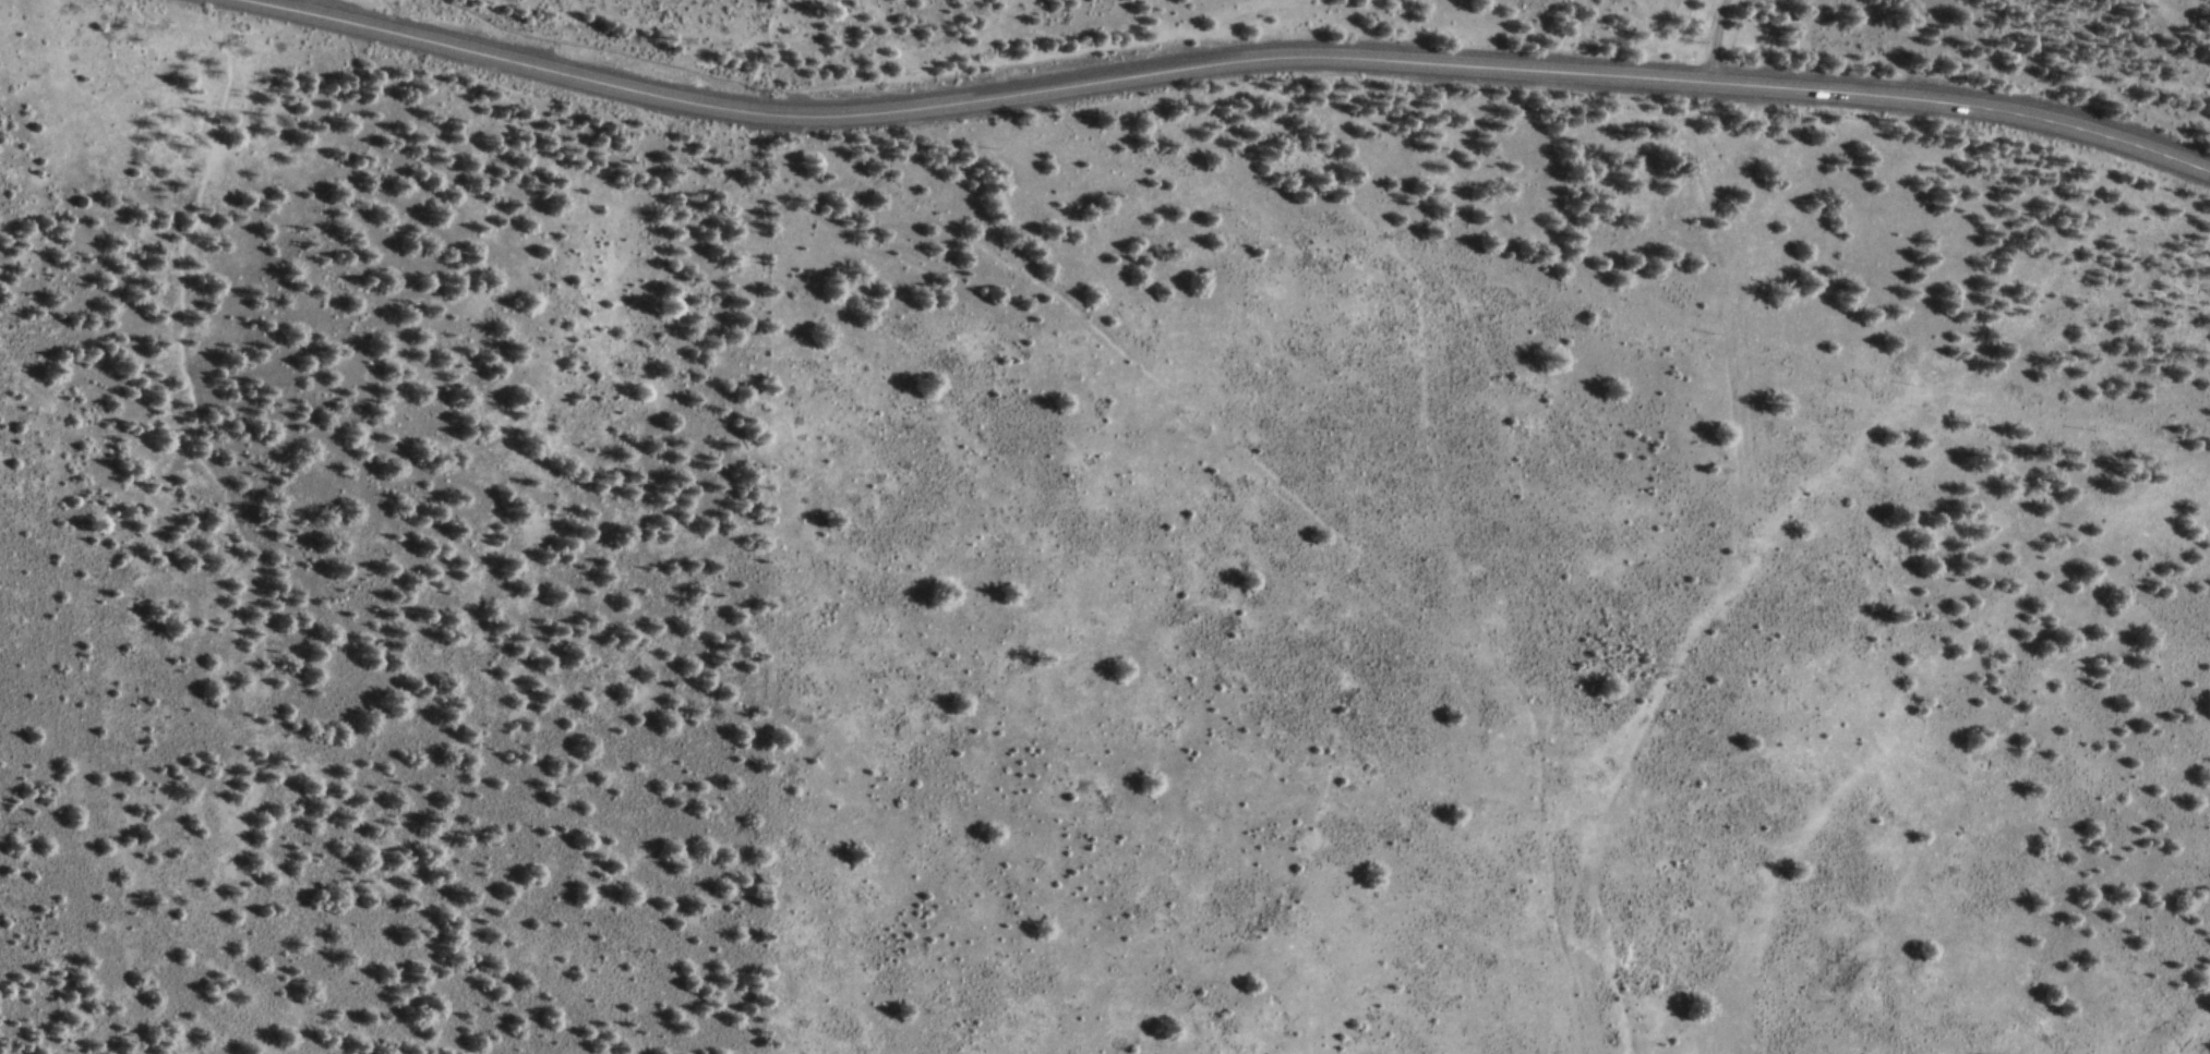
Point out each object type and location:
road: (1718, 39)
road: (1223, 61)

